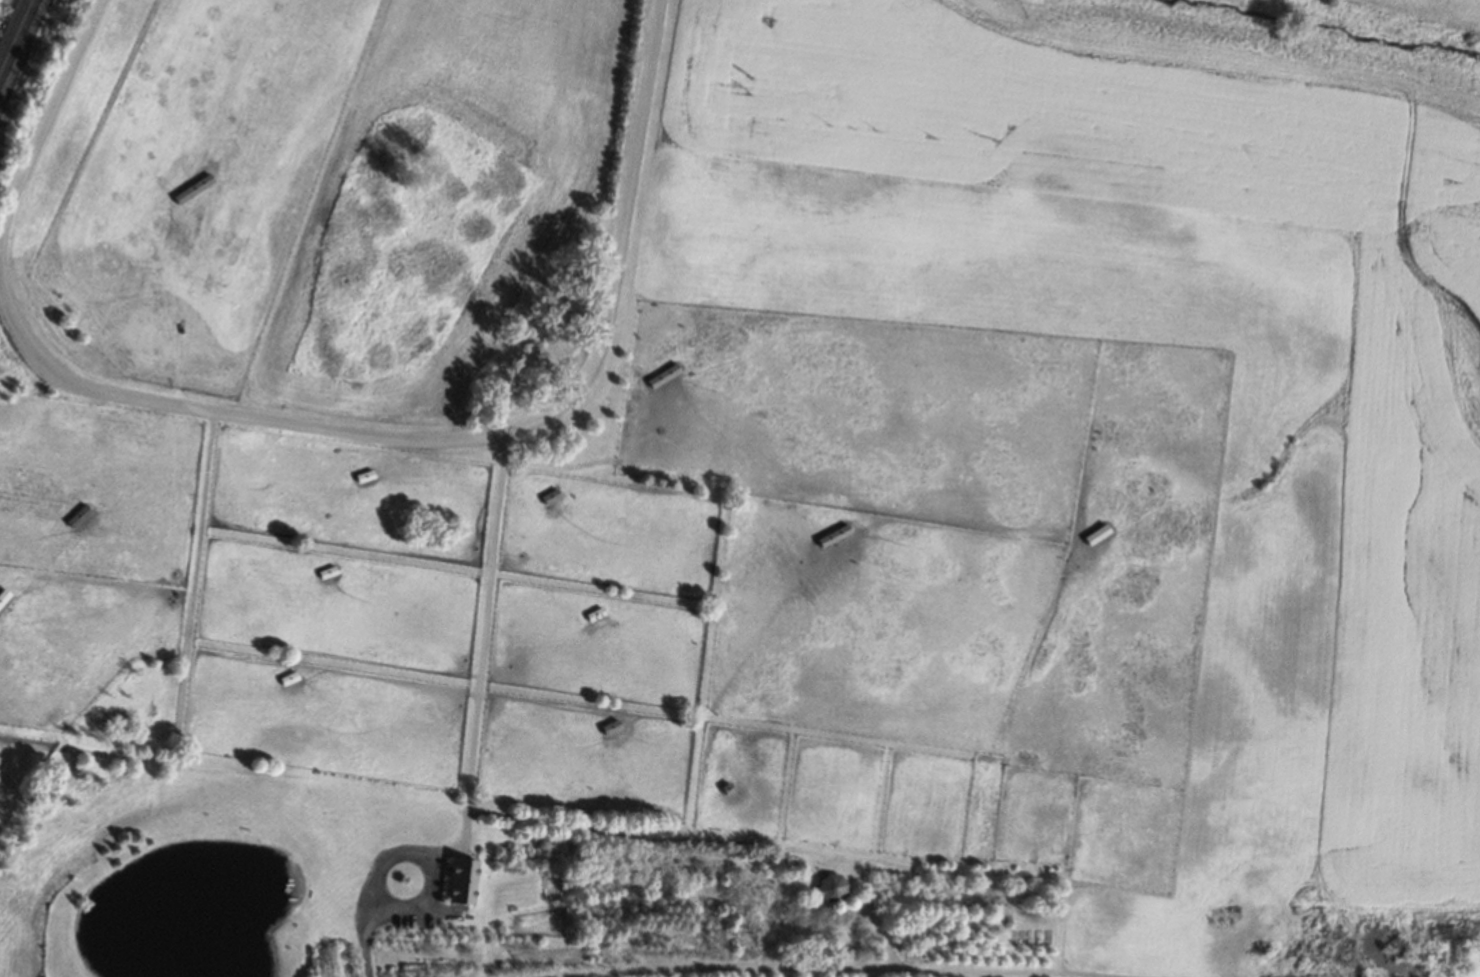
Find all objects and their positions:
railway: (13, 29)
railway: (18, 41)
building: (192, 189)
building: (664, 375)
road: (320, 427)
building: (365, 477)
building: (551, 497)
building: (78, 517)
building: (1096, 535)
building: (834, 536)
building: (329, 574)
building: (3, 597)
building: (596, 616)
road: (481, 653)
building: (289, 679)
building: (611, 727)
building: (726, 788)
road: (430, 856)
building: (461, 880)
road: (880, 929)
road: (366, 949)
road: (847, 969)

